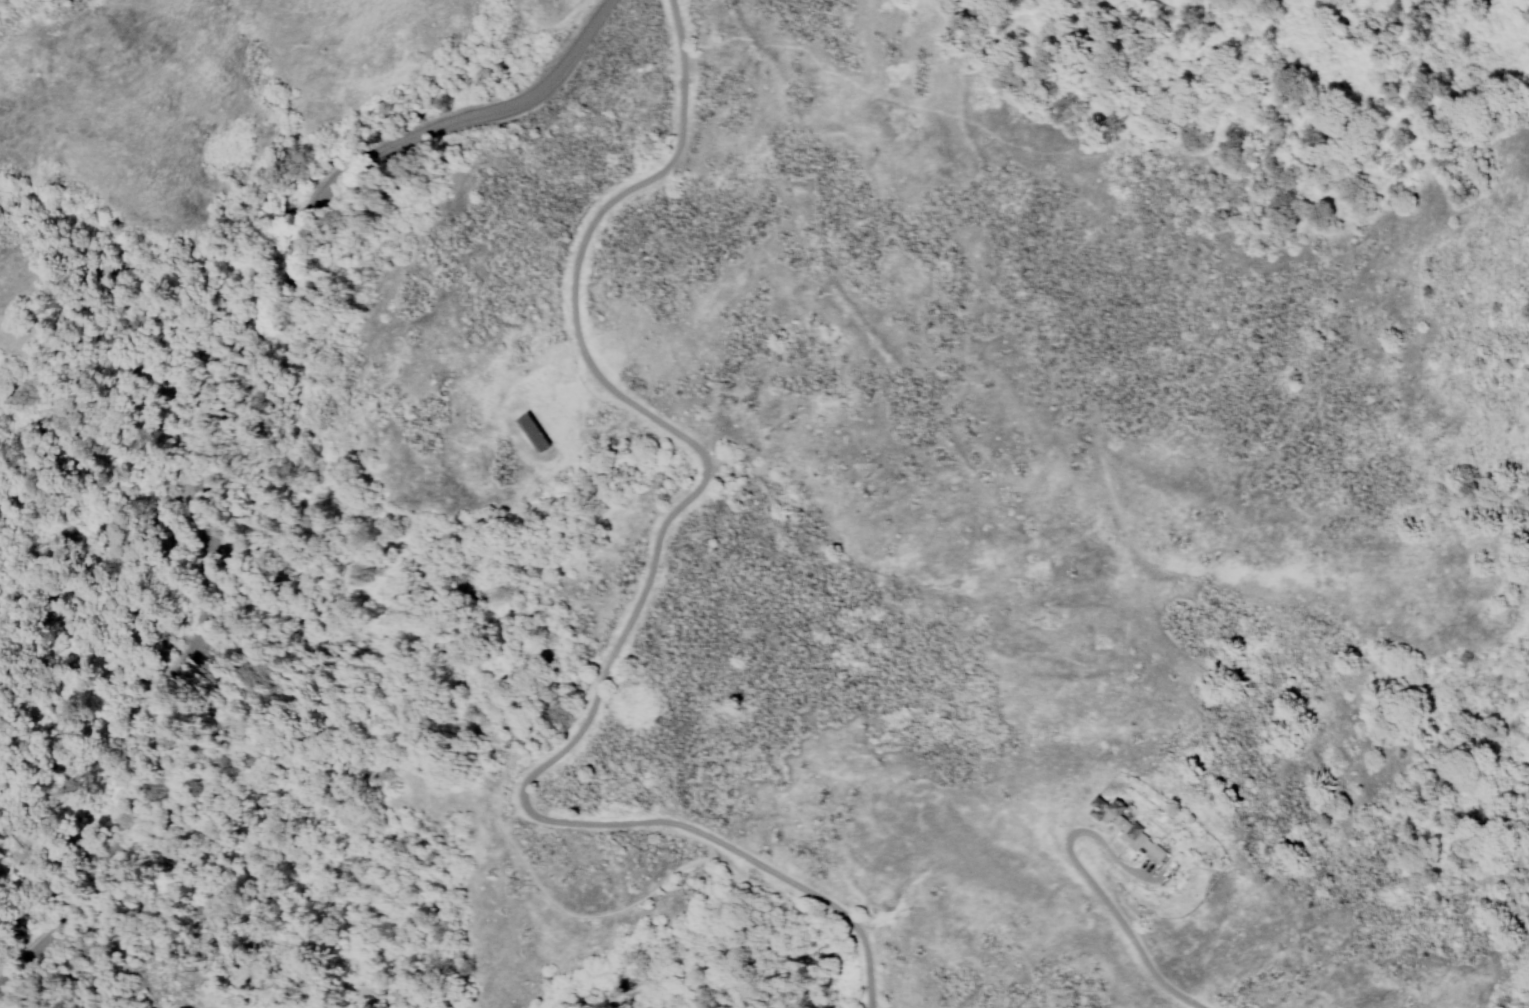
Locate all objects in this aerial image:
road: (584, 354)
road: (208, 387)
building: (538, 433)
road: (656, 821)
building: (1126, 828)
building: (1115, 830)
road: (1092, 885)
road: (614, 909)
road: (20, 948)

